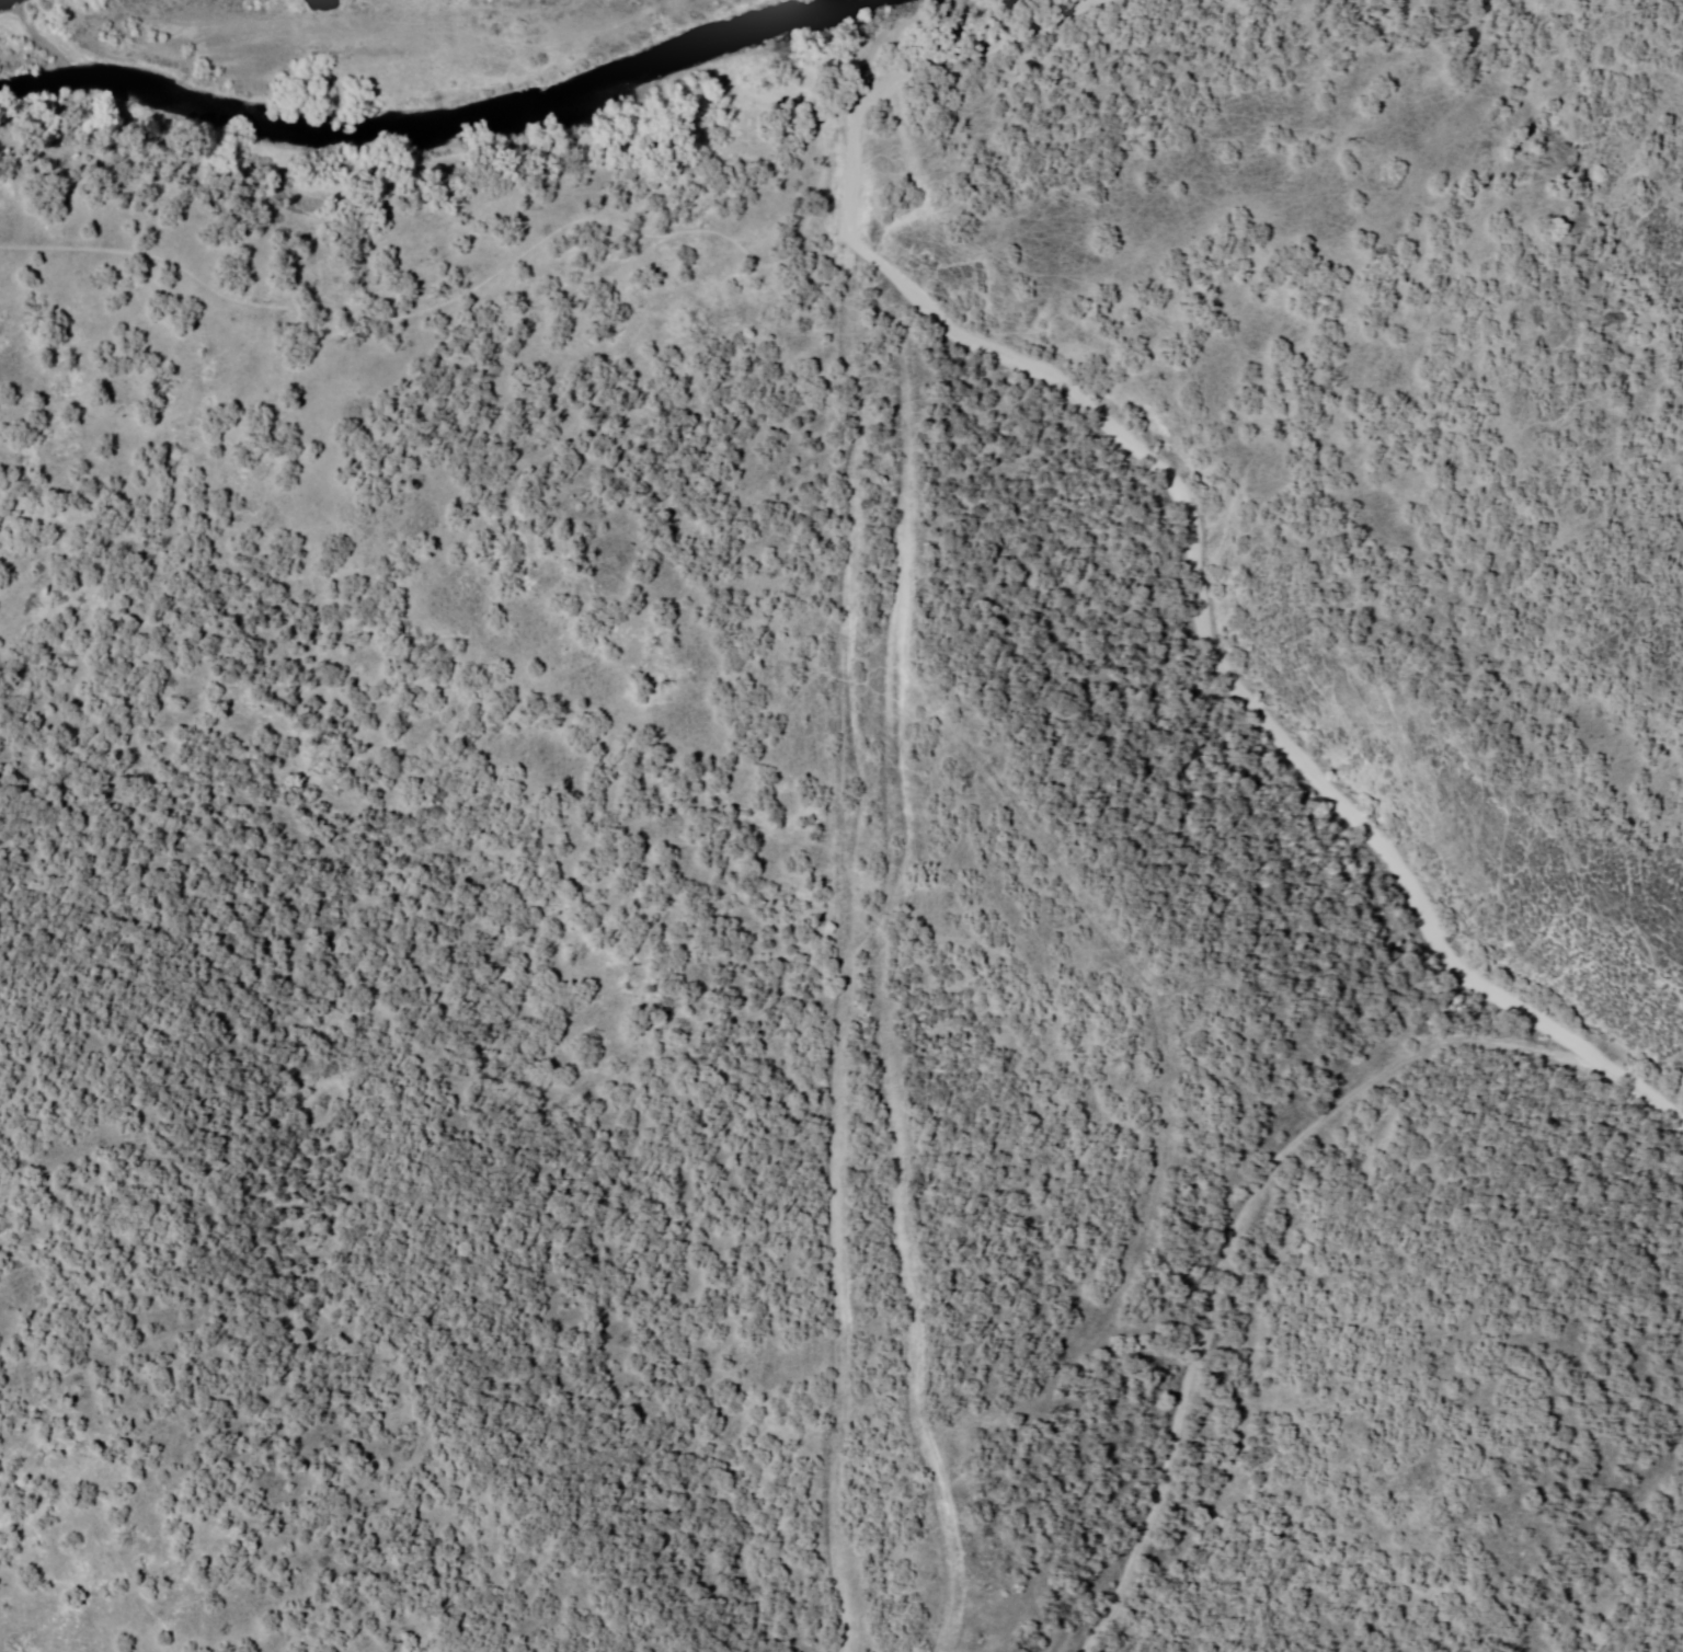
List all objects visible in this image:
river: (709, 42)
river: (287, 123)
road: (1180, 491)

